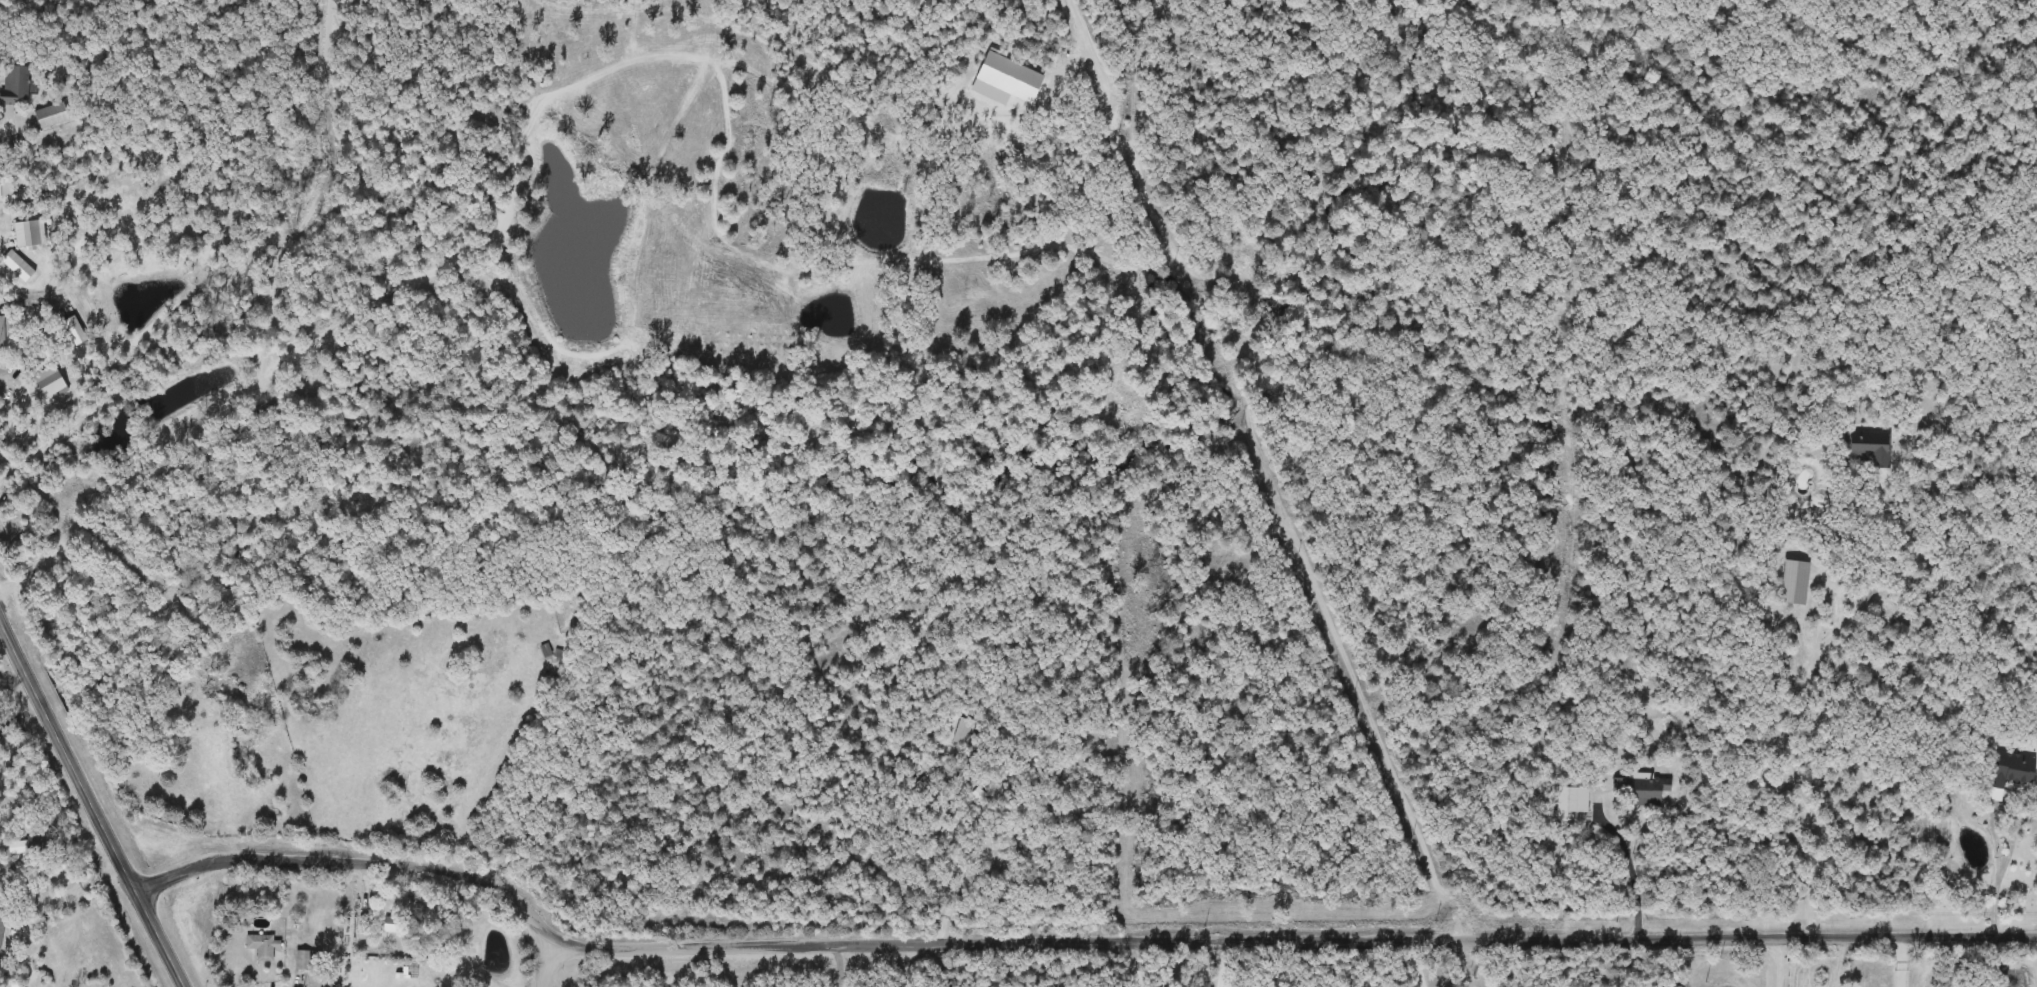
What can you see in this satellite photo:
building: (14, 84)
building: (48, 115)
road: (8, 124)
road: (24, 267)
building: (77, 328)
building: (4, 330)
building: (12, 375)
building: (1867, 449)
building: (1793, 582)
building: (548, 652)
road: (1811, 677)
building: (900, 766)
building: (2008, 773)
building: (919, 788)
building: (1641, 790)
building: (979, 794)
road: (91, 804)
building: (277, 810)
road: (2018, 840)
road: (356, 860)
road: (1634, 862)
road: (71, 887)
building: (394, 922)
building: (2, 923)
road: (1288, 935)
building: (264, 947)
building: (309, 960)
road: (1417, 960)
road: (1780, 960)
road: (1951, 960)
road: (1221, 961)
road: (1466, 961)
road: (839, 964)
road: (541, 968)

